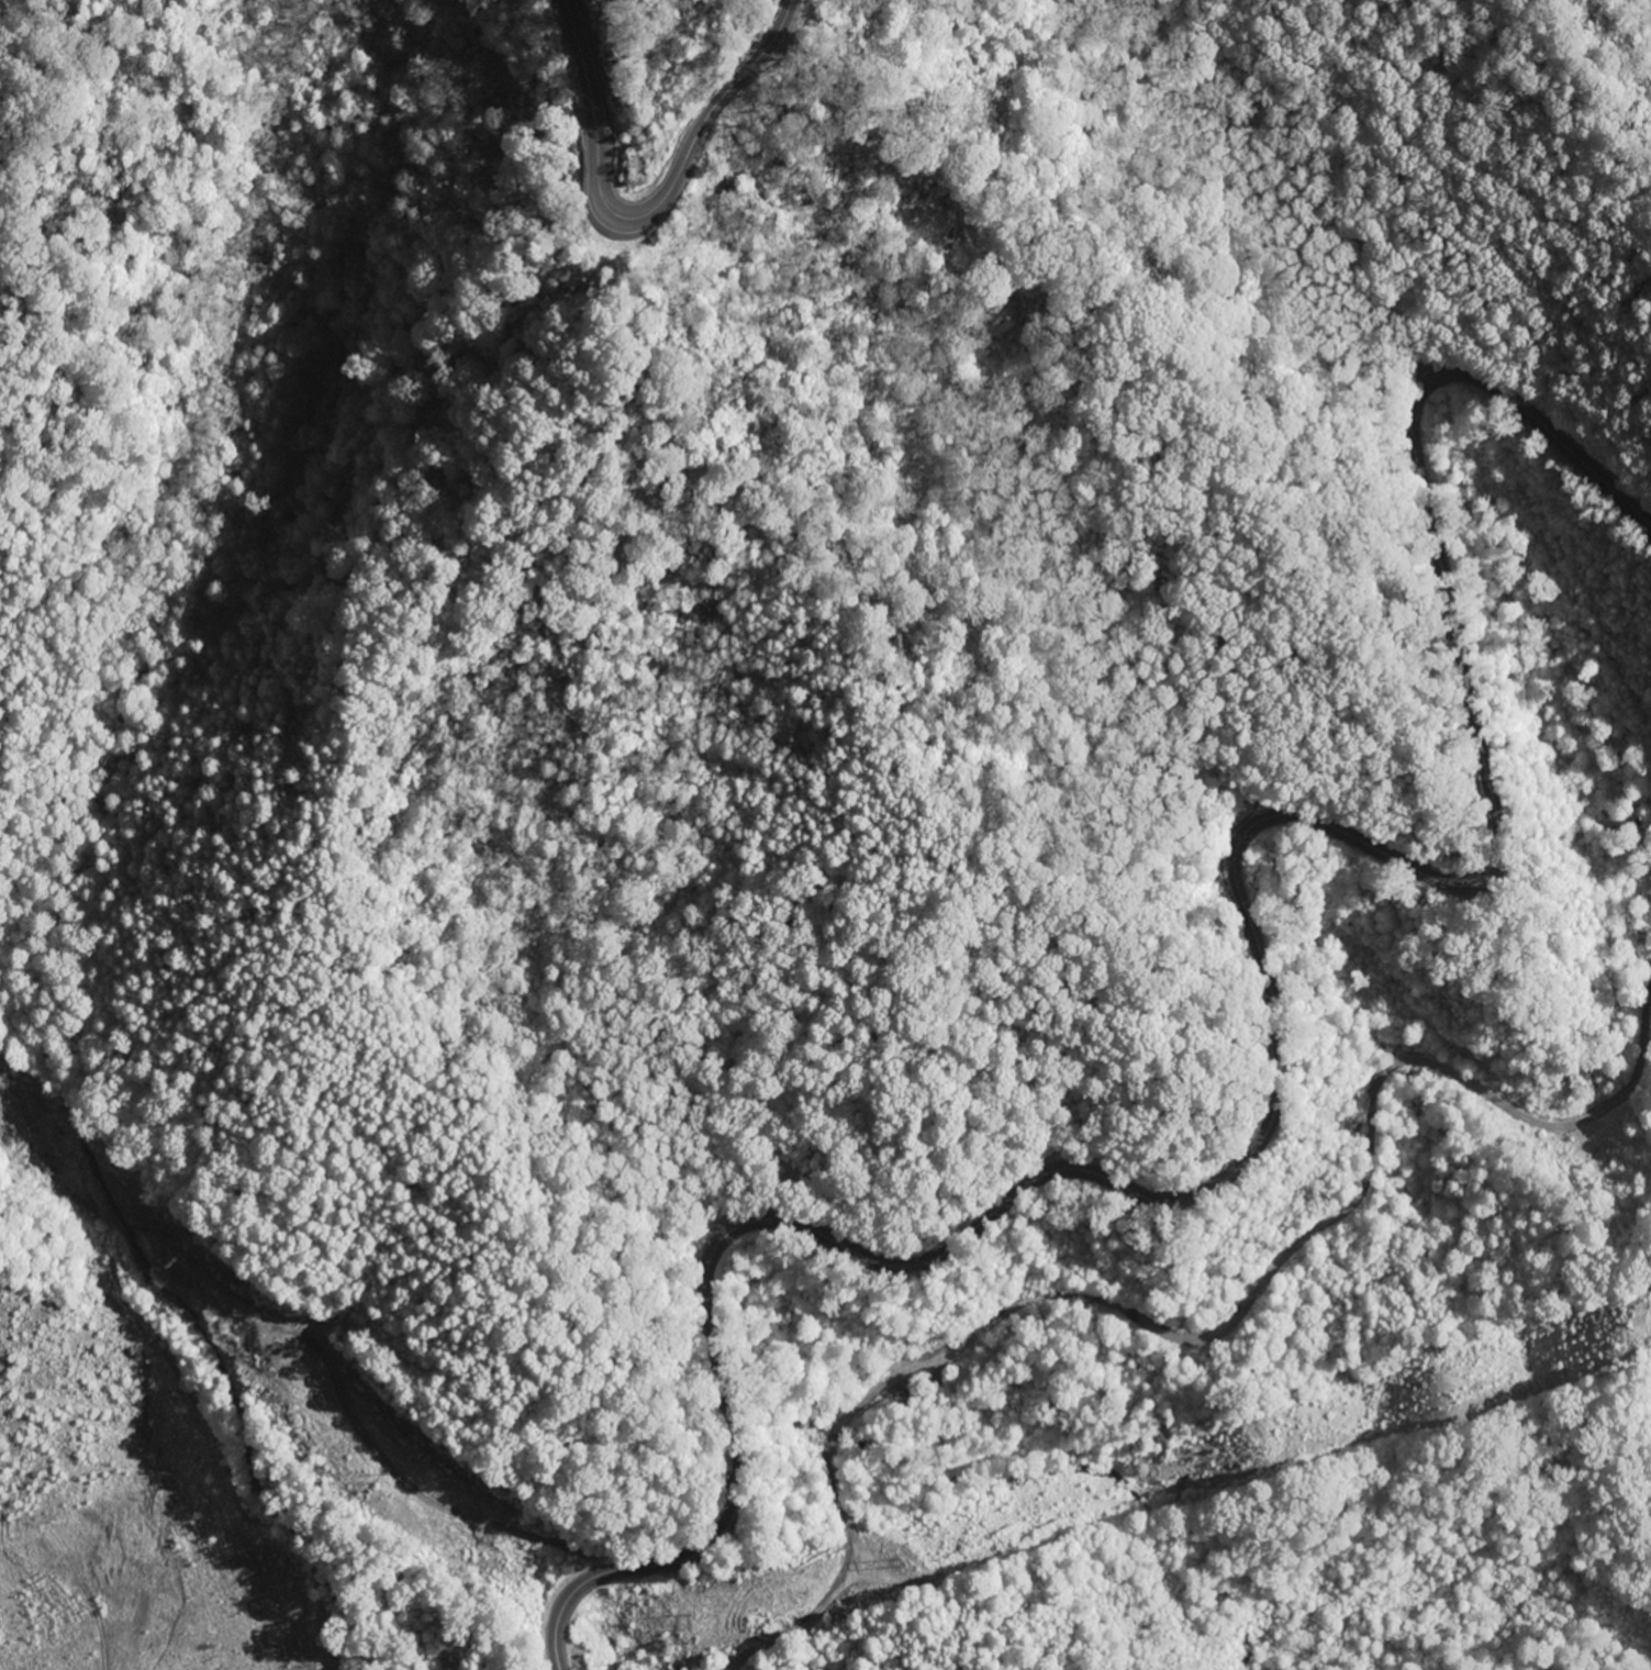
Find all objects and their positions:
road: (648, 211)
road: (1280, 1039)
power tower: (632, 1668)

